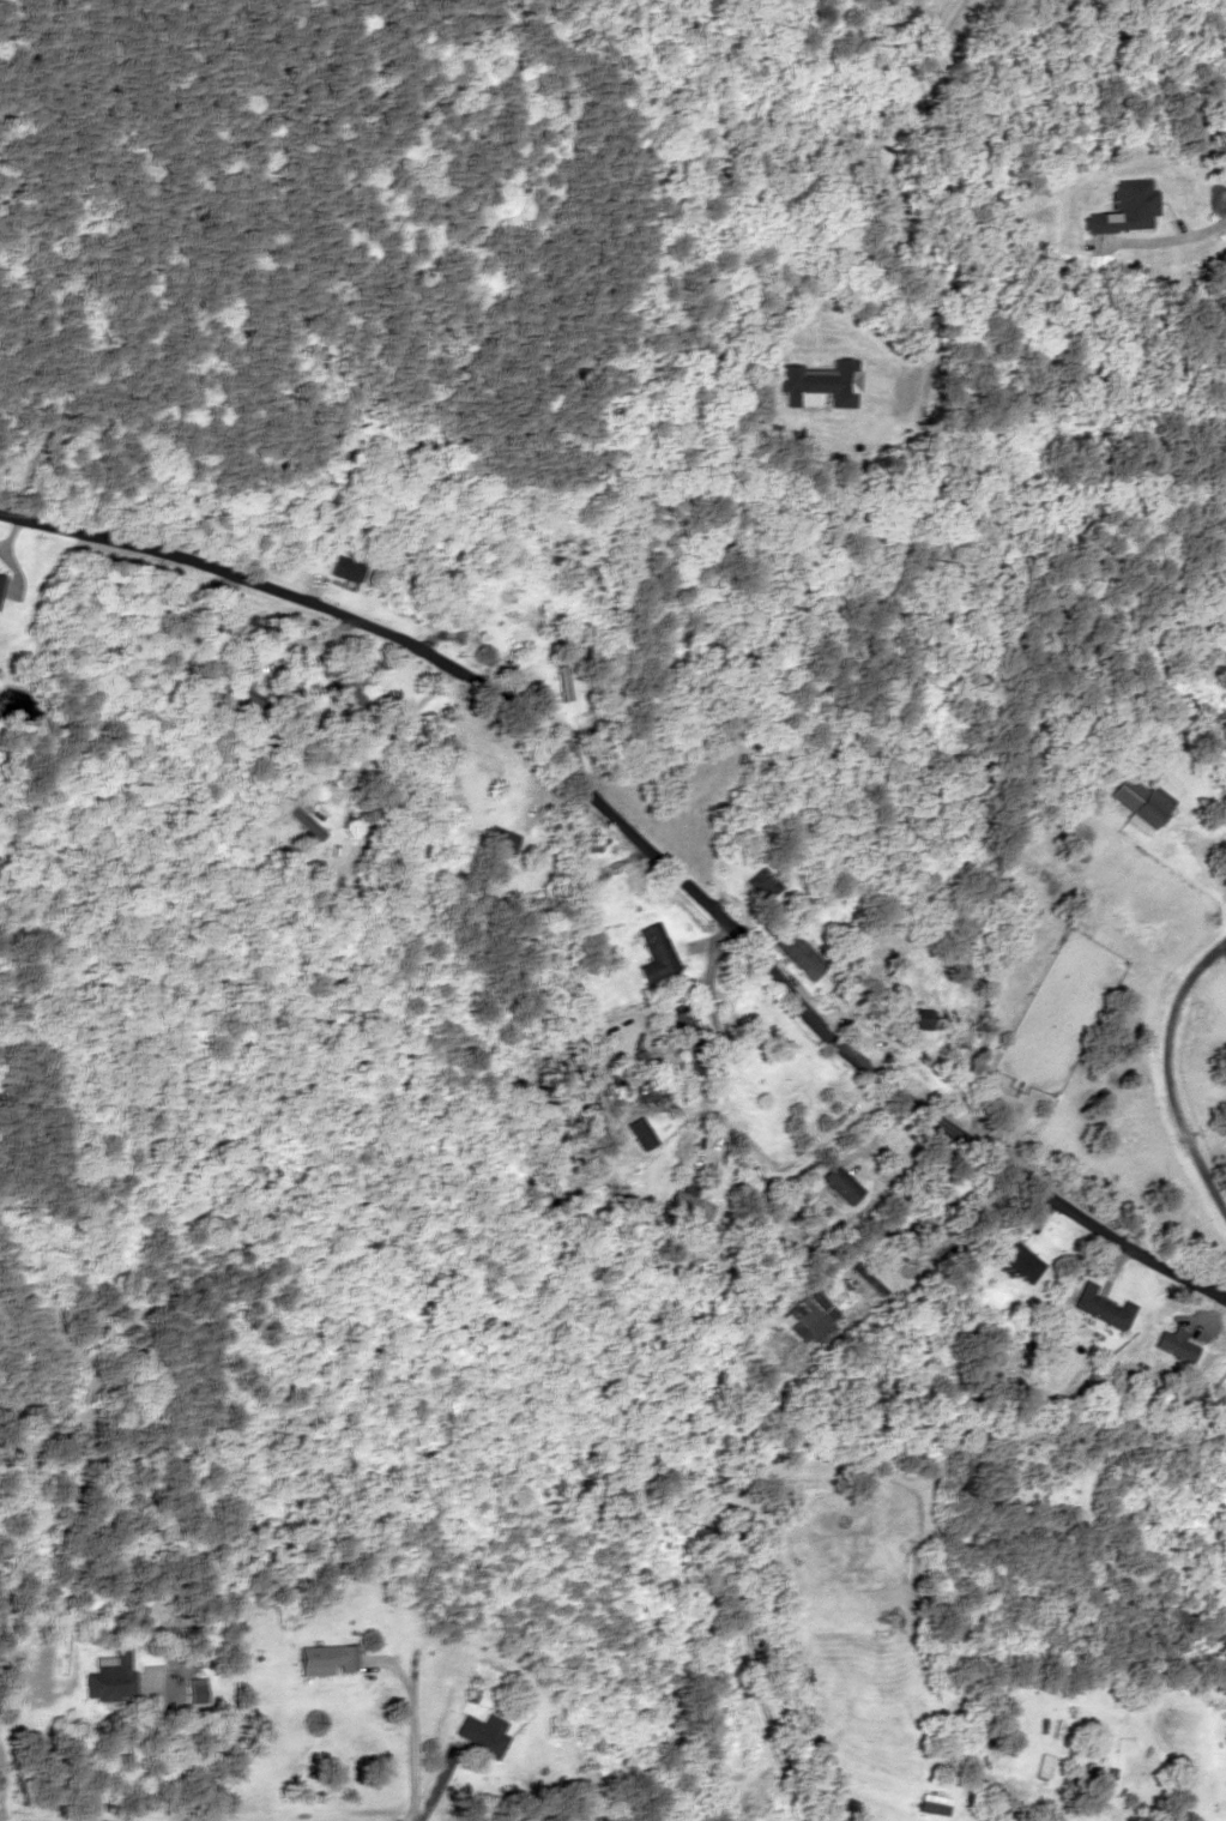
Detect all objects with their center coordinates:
road: (893, 114)
building: (343, 569)
building: (1, 585)
building: (520, 625)
building: (561, 682)
building: (342, 685)
building: (1222, 798)
building: (1137, 802)
building: (303, 815)
building: (499, 838)
road: (642, 846)
building: (620, 882)
building: (760, 884)
building: (654, 954)
building: (797, 954)
building: (918, 1018)
building: (689, 1039)
building: (640, 1072)
building: (835, 1183)
building: (687, 1205)
building: (1016, 1261)
building: (1098, 1308)
building: (810, 1322)
building: (1172, 1344)
building: (326, 1658)
building: (109, 1677)
building: (194, 1690)
building: (481, 1733)
building: (1041, 1766)

